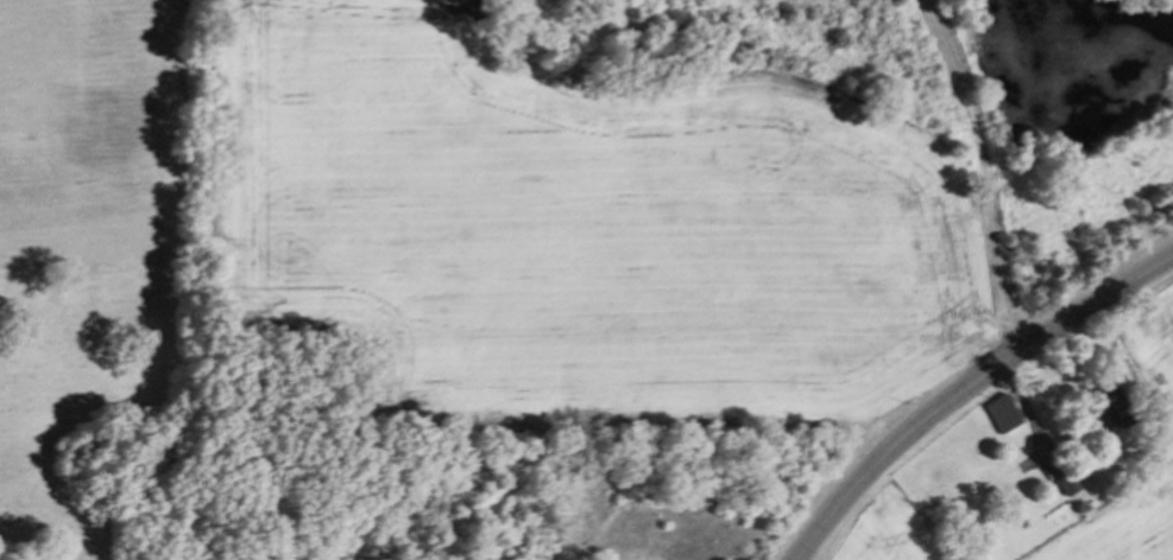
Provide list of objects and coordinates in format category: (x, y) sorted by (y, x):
park: (83, 125)
park: (101, 280)
road: (971, 392)
crop: (1153, 399)
building: (1114, 407)
building: (998, 412)
building: (1060, 479)
crop: (885, 534)

